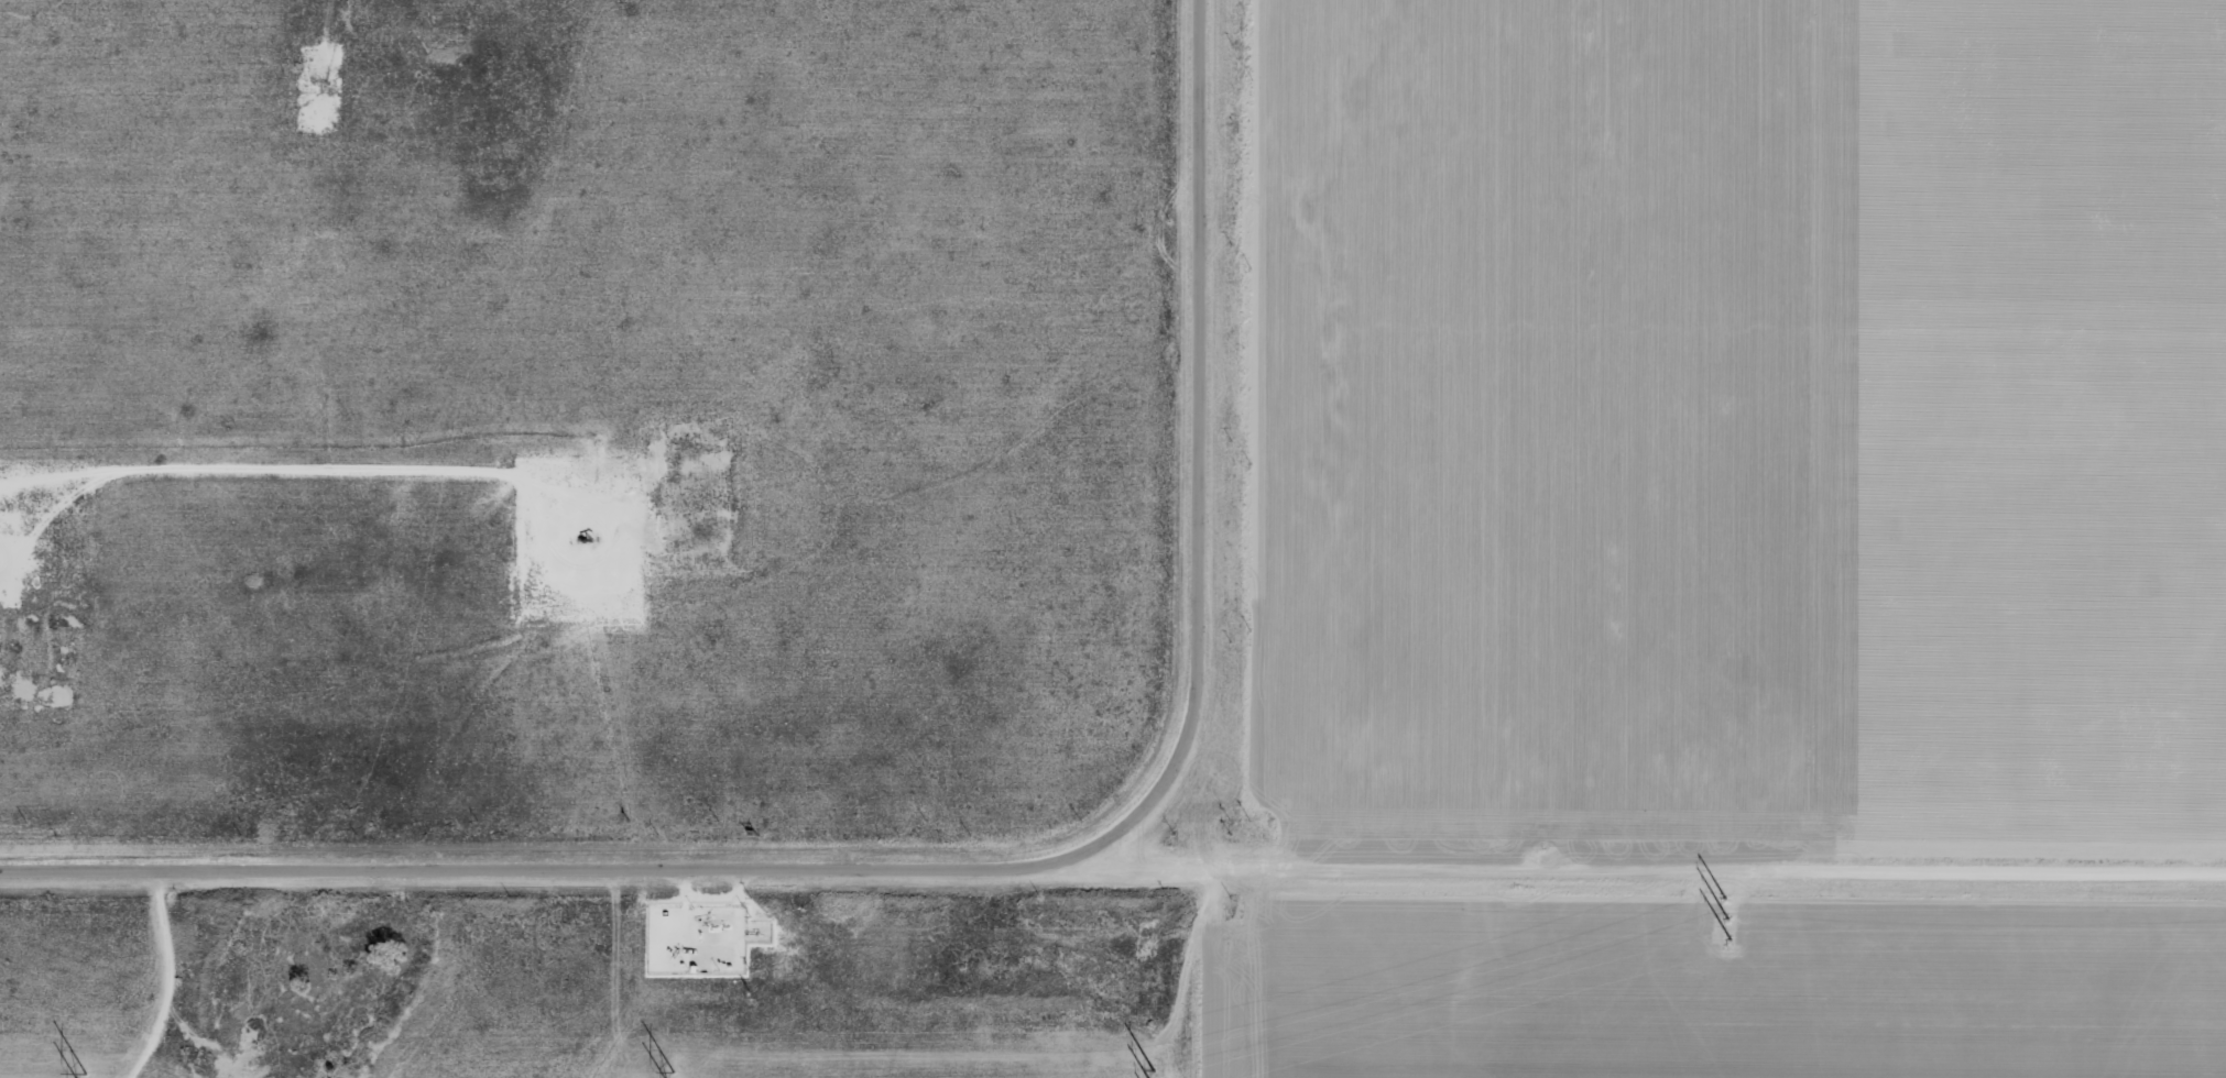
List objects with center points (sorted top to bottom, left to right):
road: (1178, 439)
road: (1112, 846)
power tower: (1717, 912)
road: (163, 975)
power tower: (72, 1064)
power tower: (665, 1065)
power tower: (1143, 1070)

